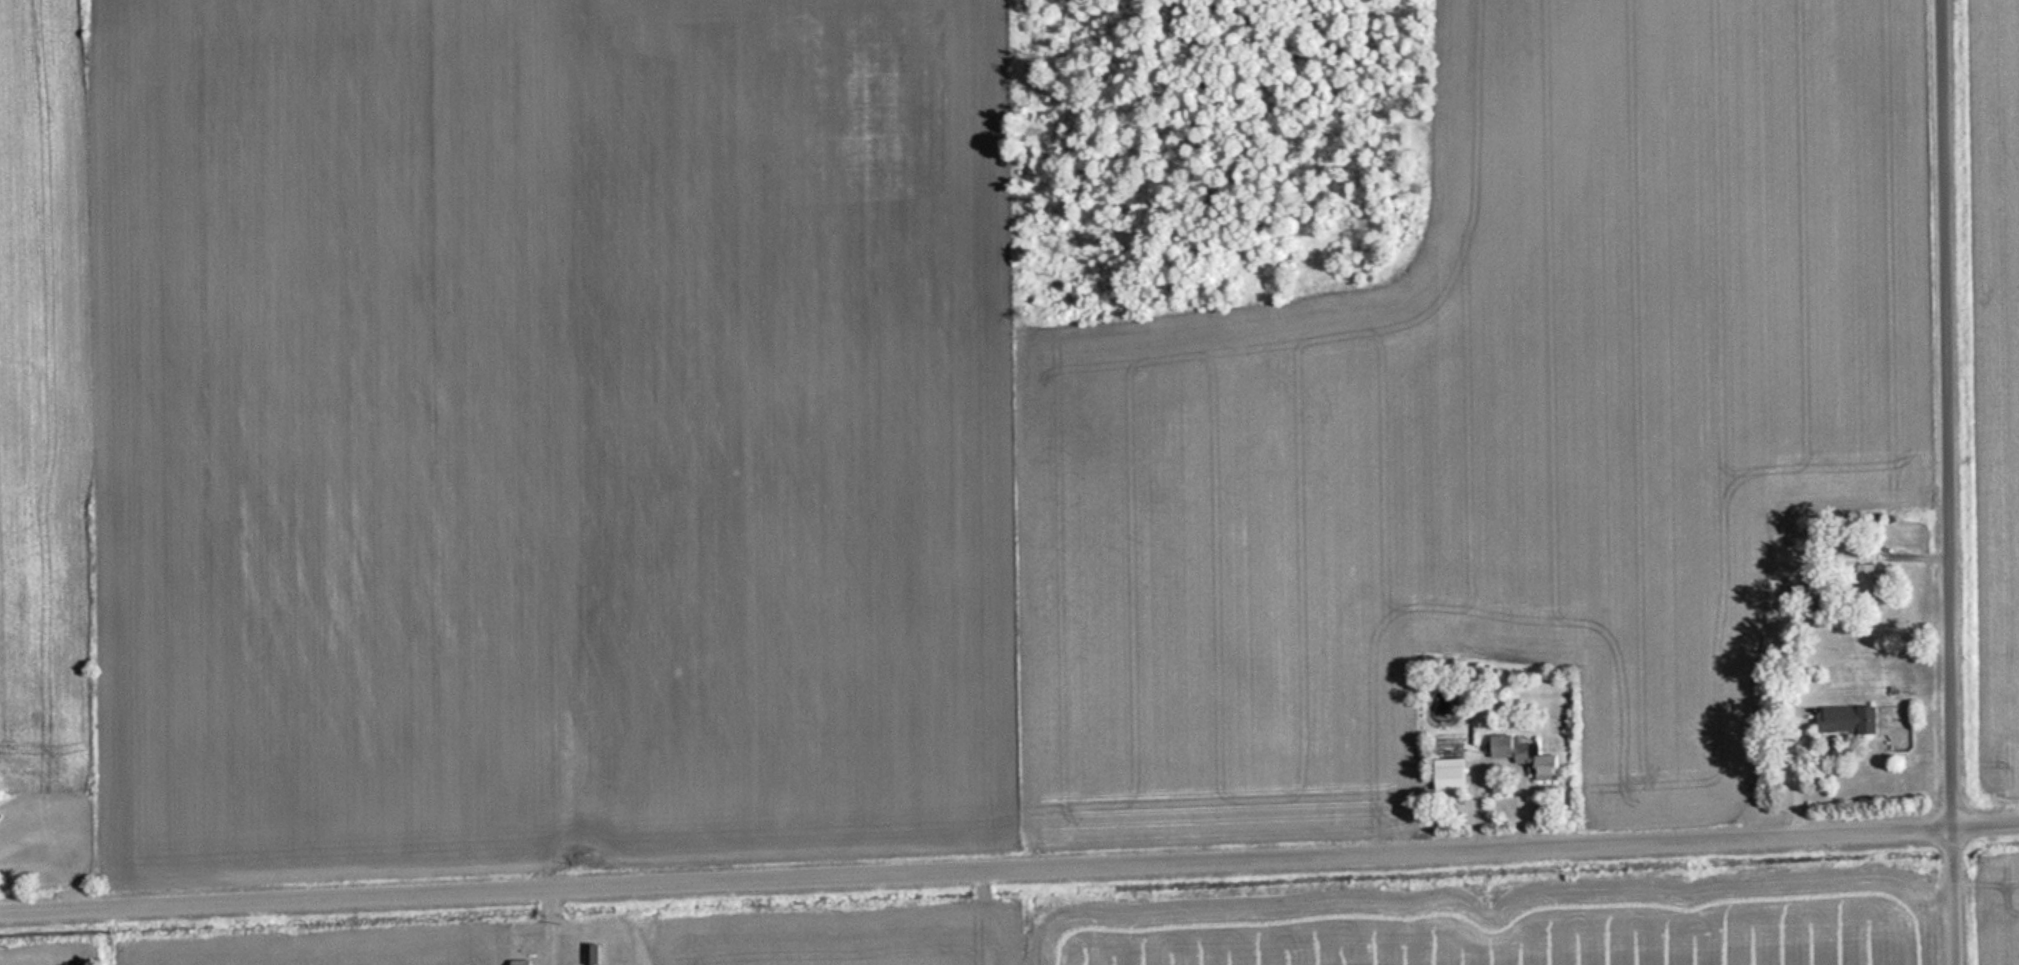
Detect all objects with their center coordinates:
road: (1954, 482)
building: (1863, 578)
building: (1844, 720)
building: (1521, 753)
building: (1446, 778)
road: (1009, 869)
building: (593, 954)
building: (525, 962)

